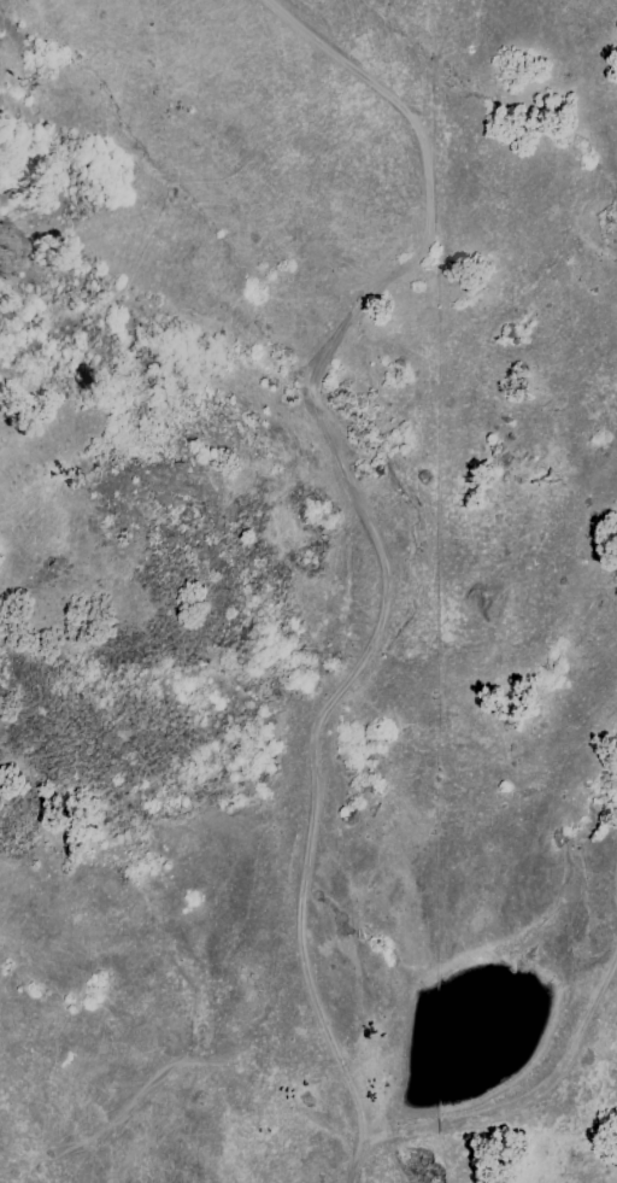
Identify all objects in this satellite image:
road: (374, 527)
road: (512, 1118)

